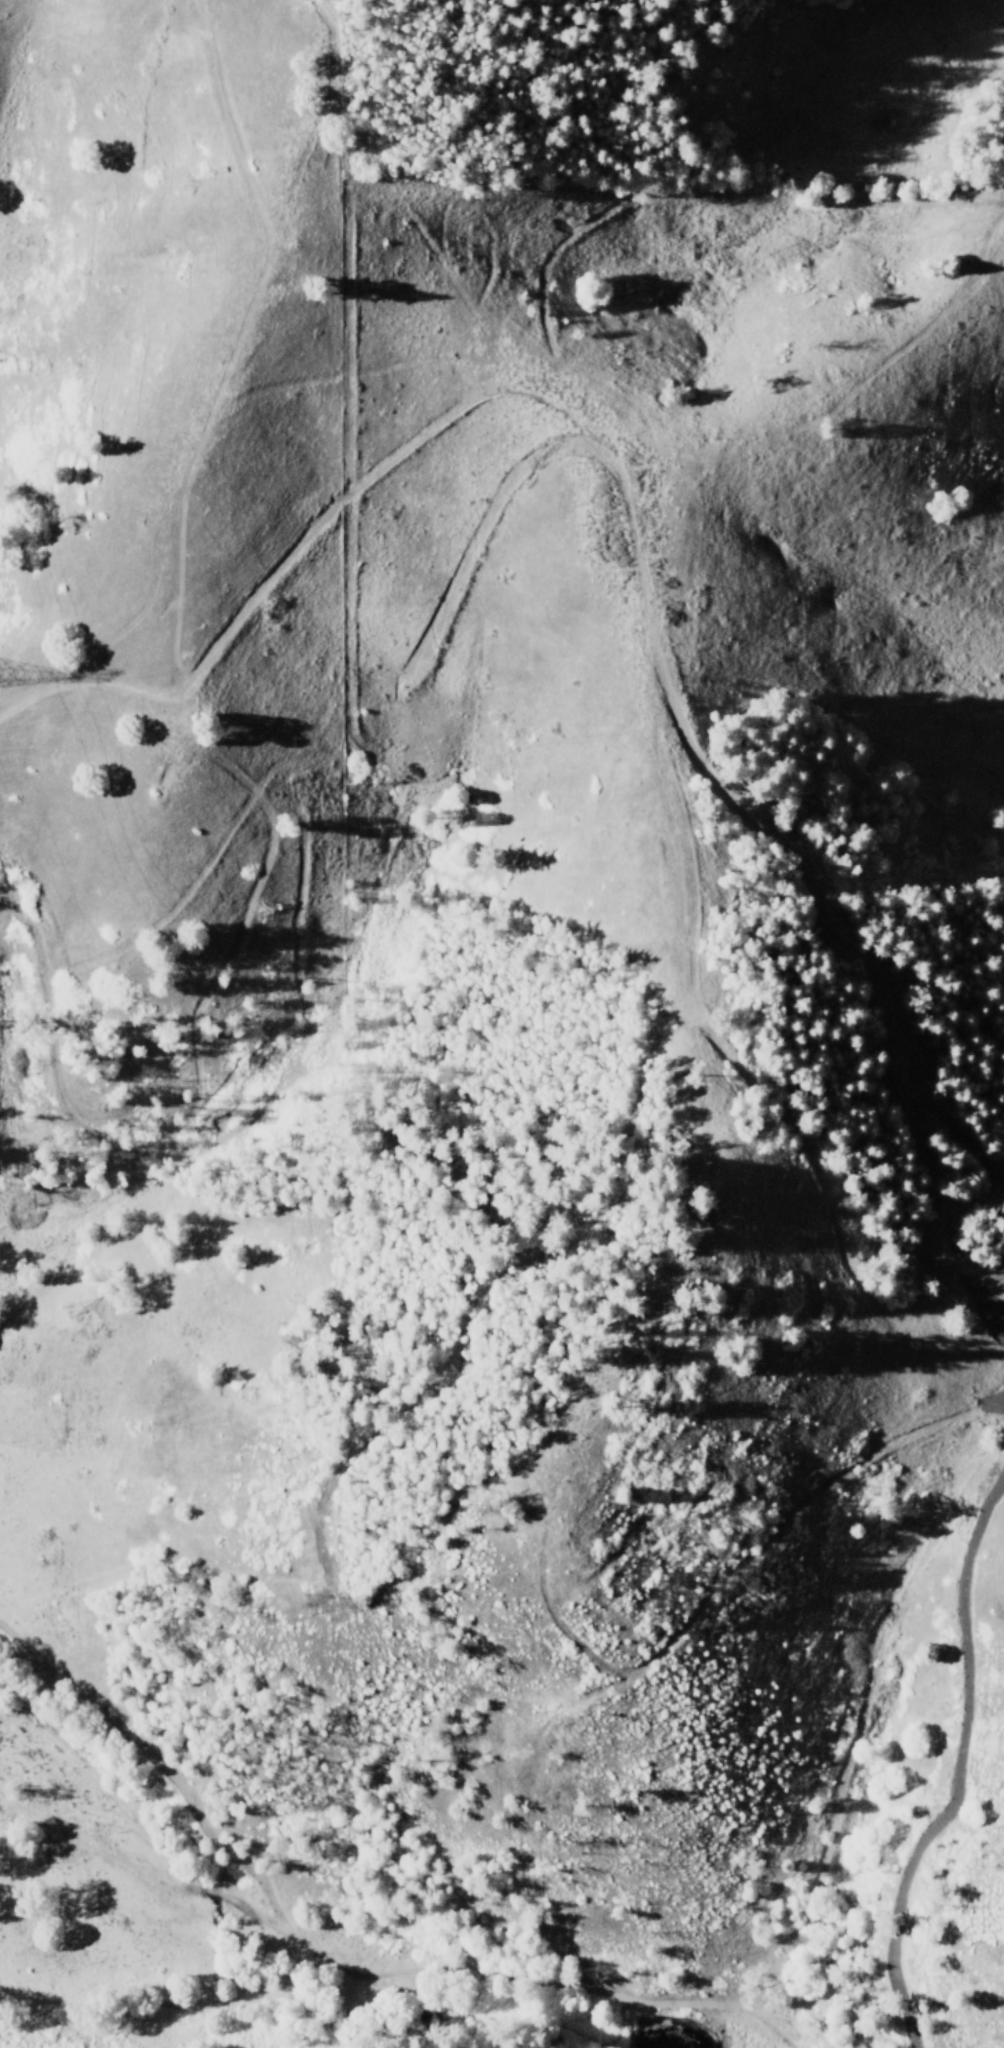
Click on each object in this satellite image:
road: (645, 924)
power tower: (327, 1601)
road: (977, 1741)
road: (925, 2026)

